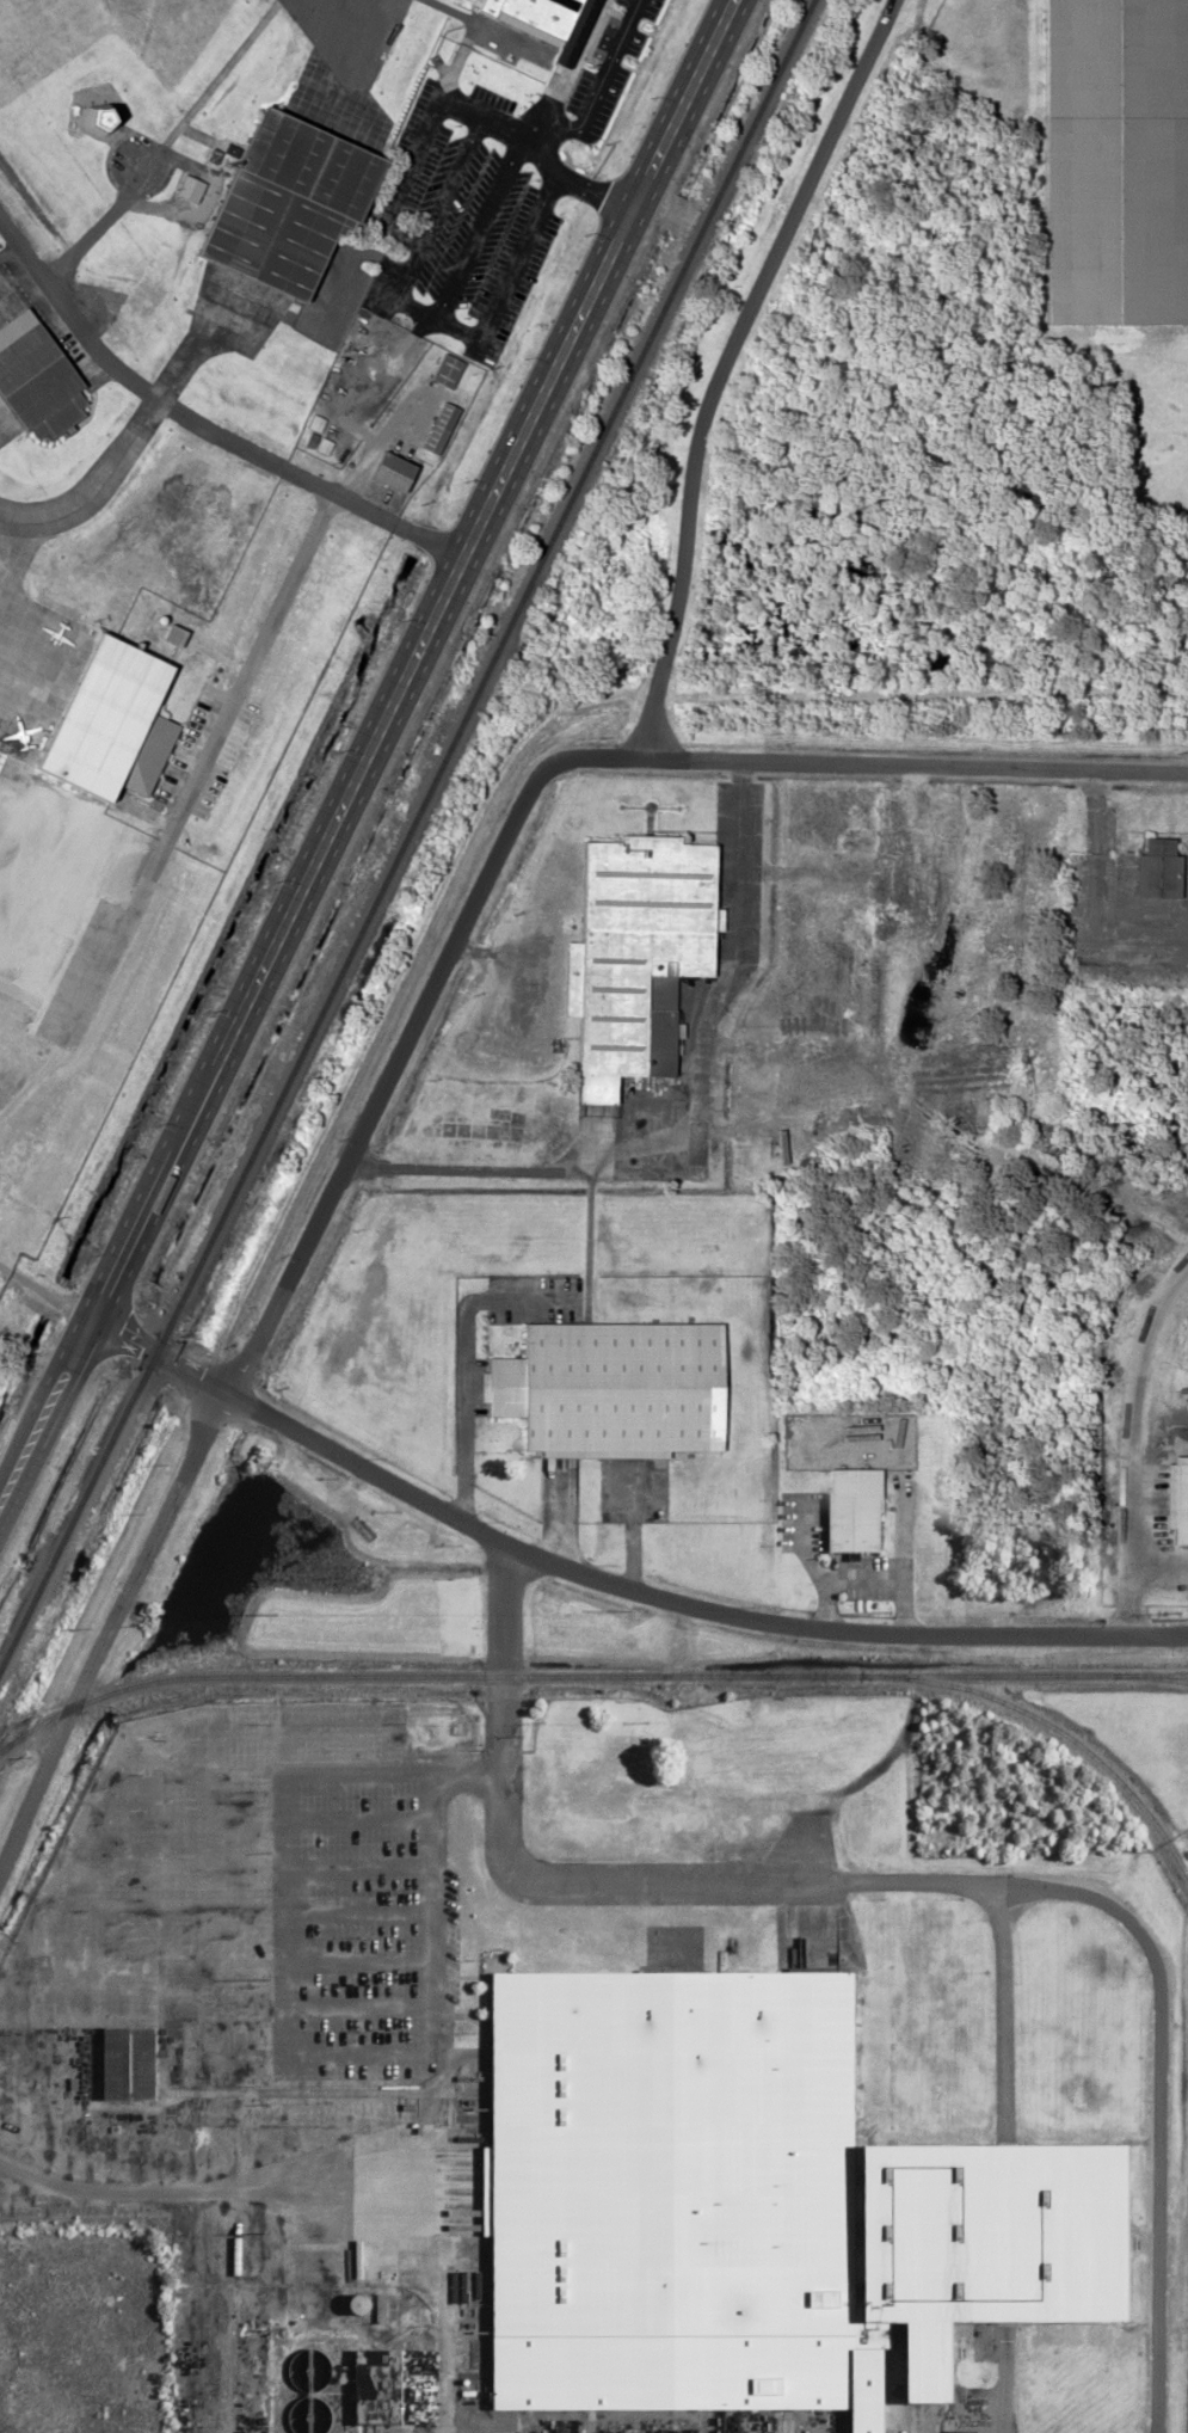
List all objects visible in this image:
airport terminal: (541, 24)
building: (541, 24)
road: (602, 80)
road: (543, 124)
building: (1112, 161)
parking lot: (475, 188)
building: (276, 205)
road: (580, 309)
road: (93, 336)
building: (38, 380)
building: (437, 403)
airport: (229, 467)
building: (382, 471)
road: (338, 494)
building: (100, 714)
road: (864, 761)
railway: (406, 836)
building: (1152, 867)
building: (628, 953)
road: (259, 967)
road: (383, 1080)
road: (159, 1354)
building: (608, 1388)
road: (47, 1407)
building: (1174, 1497)
road: (1, 1501)
building: (850, 1509)
road: (685, 1602)
road: (113, 1634)
railway: (585, 1676)
railway: (1165, 1677)
railway: (1060, 1731)
building: (125, 2063)
building: (751, 2207)
building: (358, 2392)

